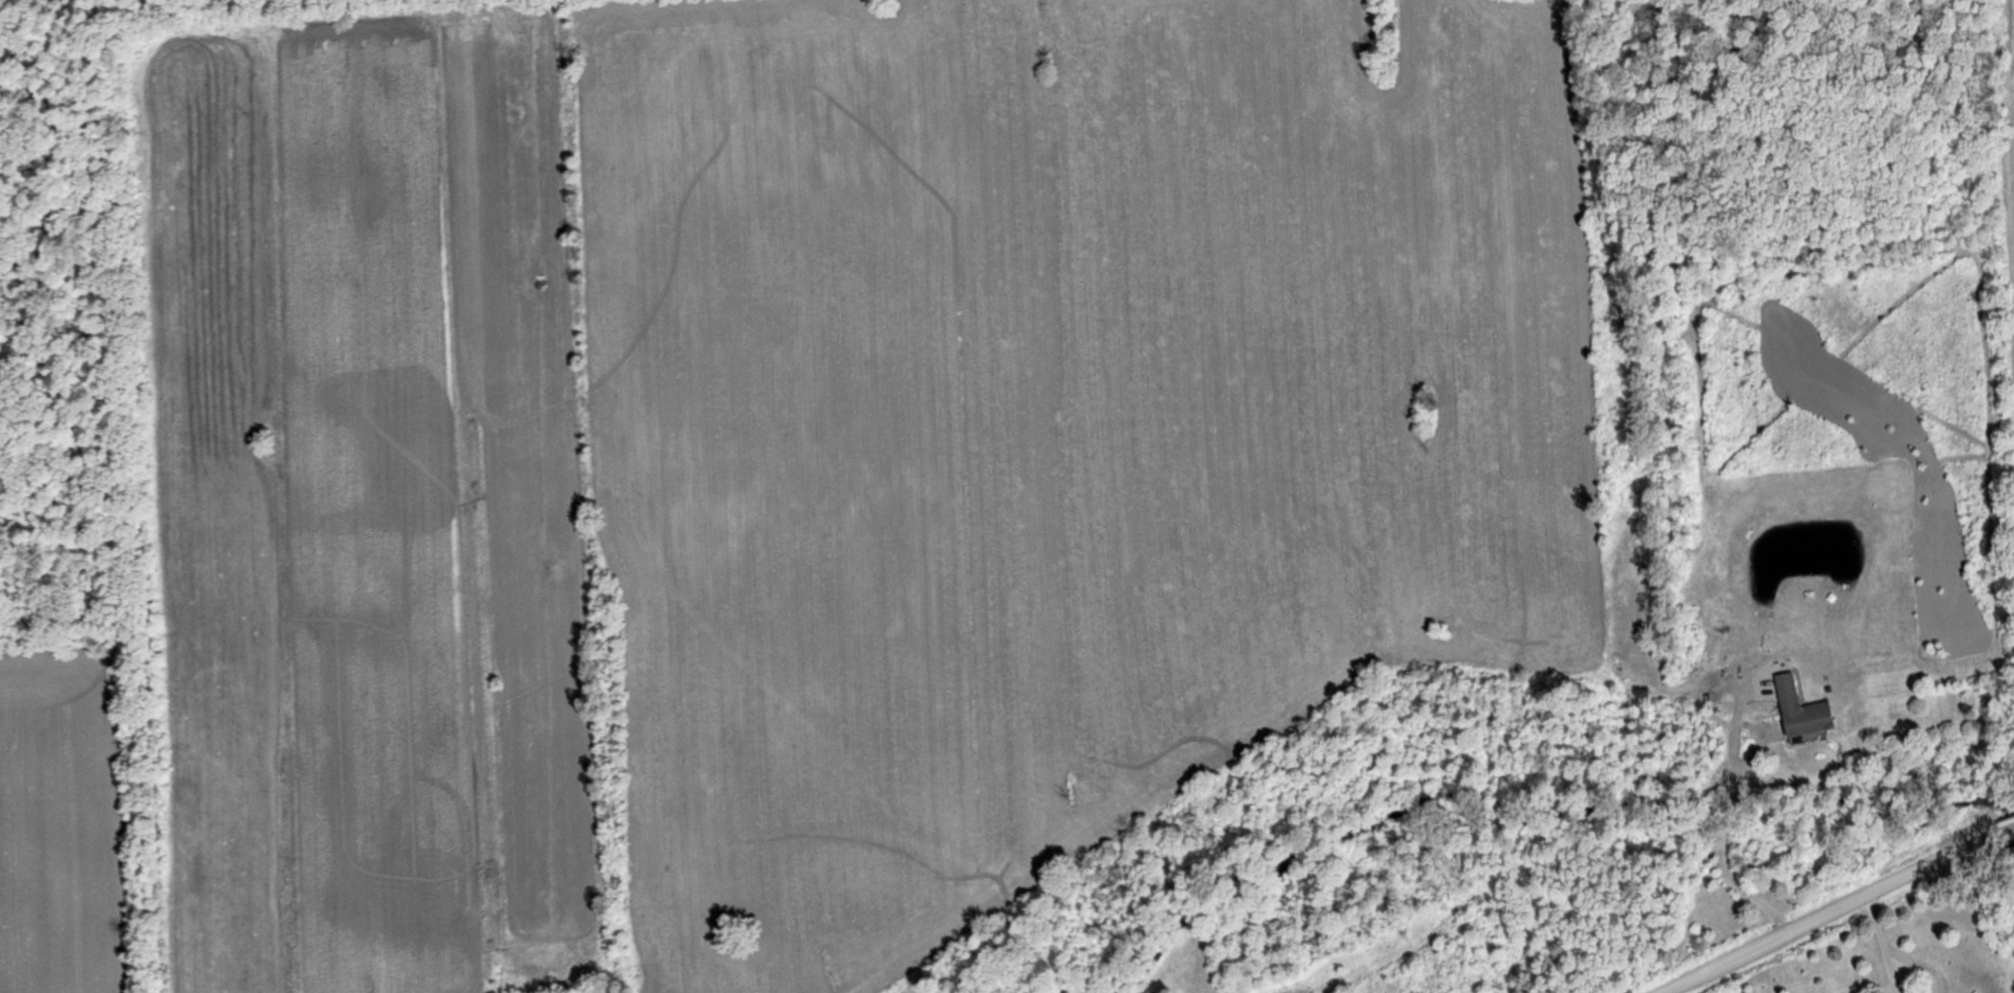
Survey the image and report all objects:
building: (1800, 709)
road: (1725, 840)
road: (1842, 910)
road: (1882, 946)

